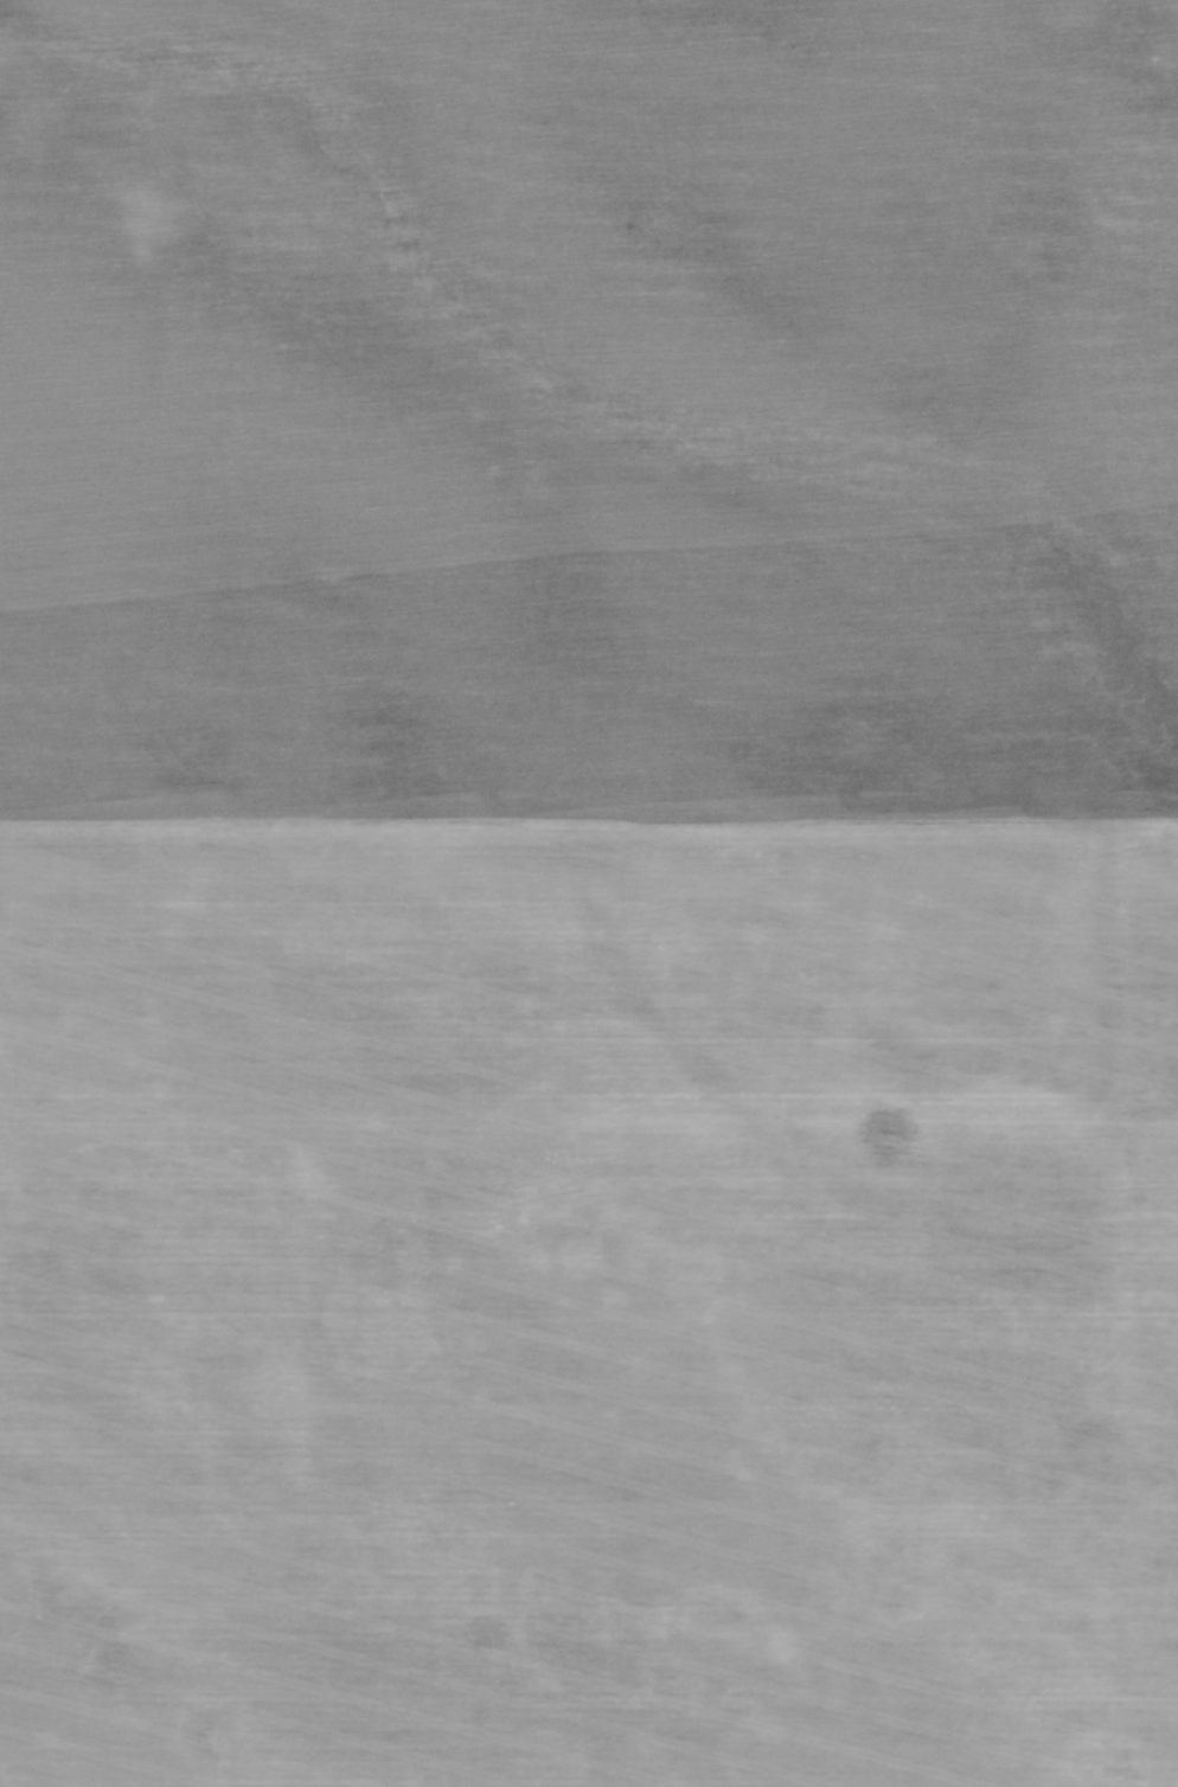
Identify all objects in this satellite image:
crop: (589, 894)

